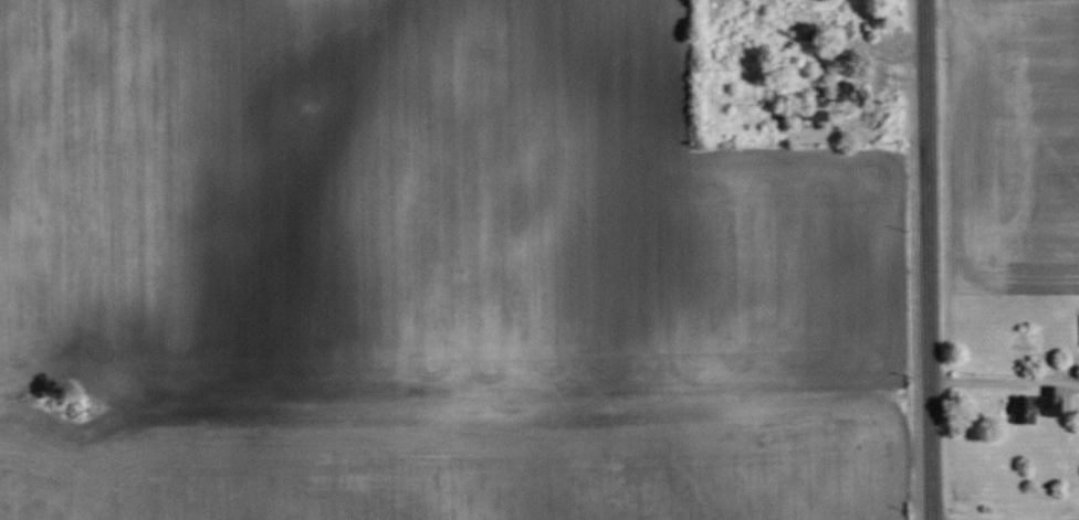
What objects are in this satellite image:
building: (848, 92)
building: (803, 112)
road: (930, 259)
building: (1037, 404)
road: (1027, 518)

